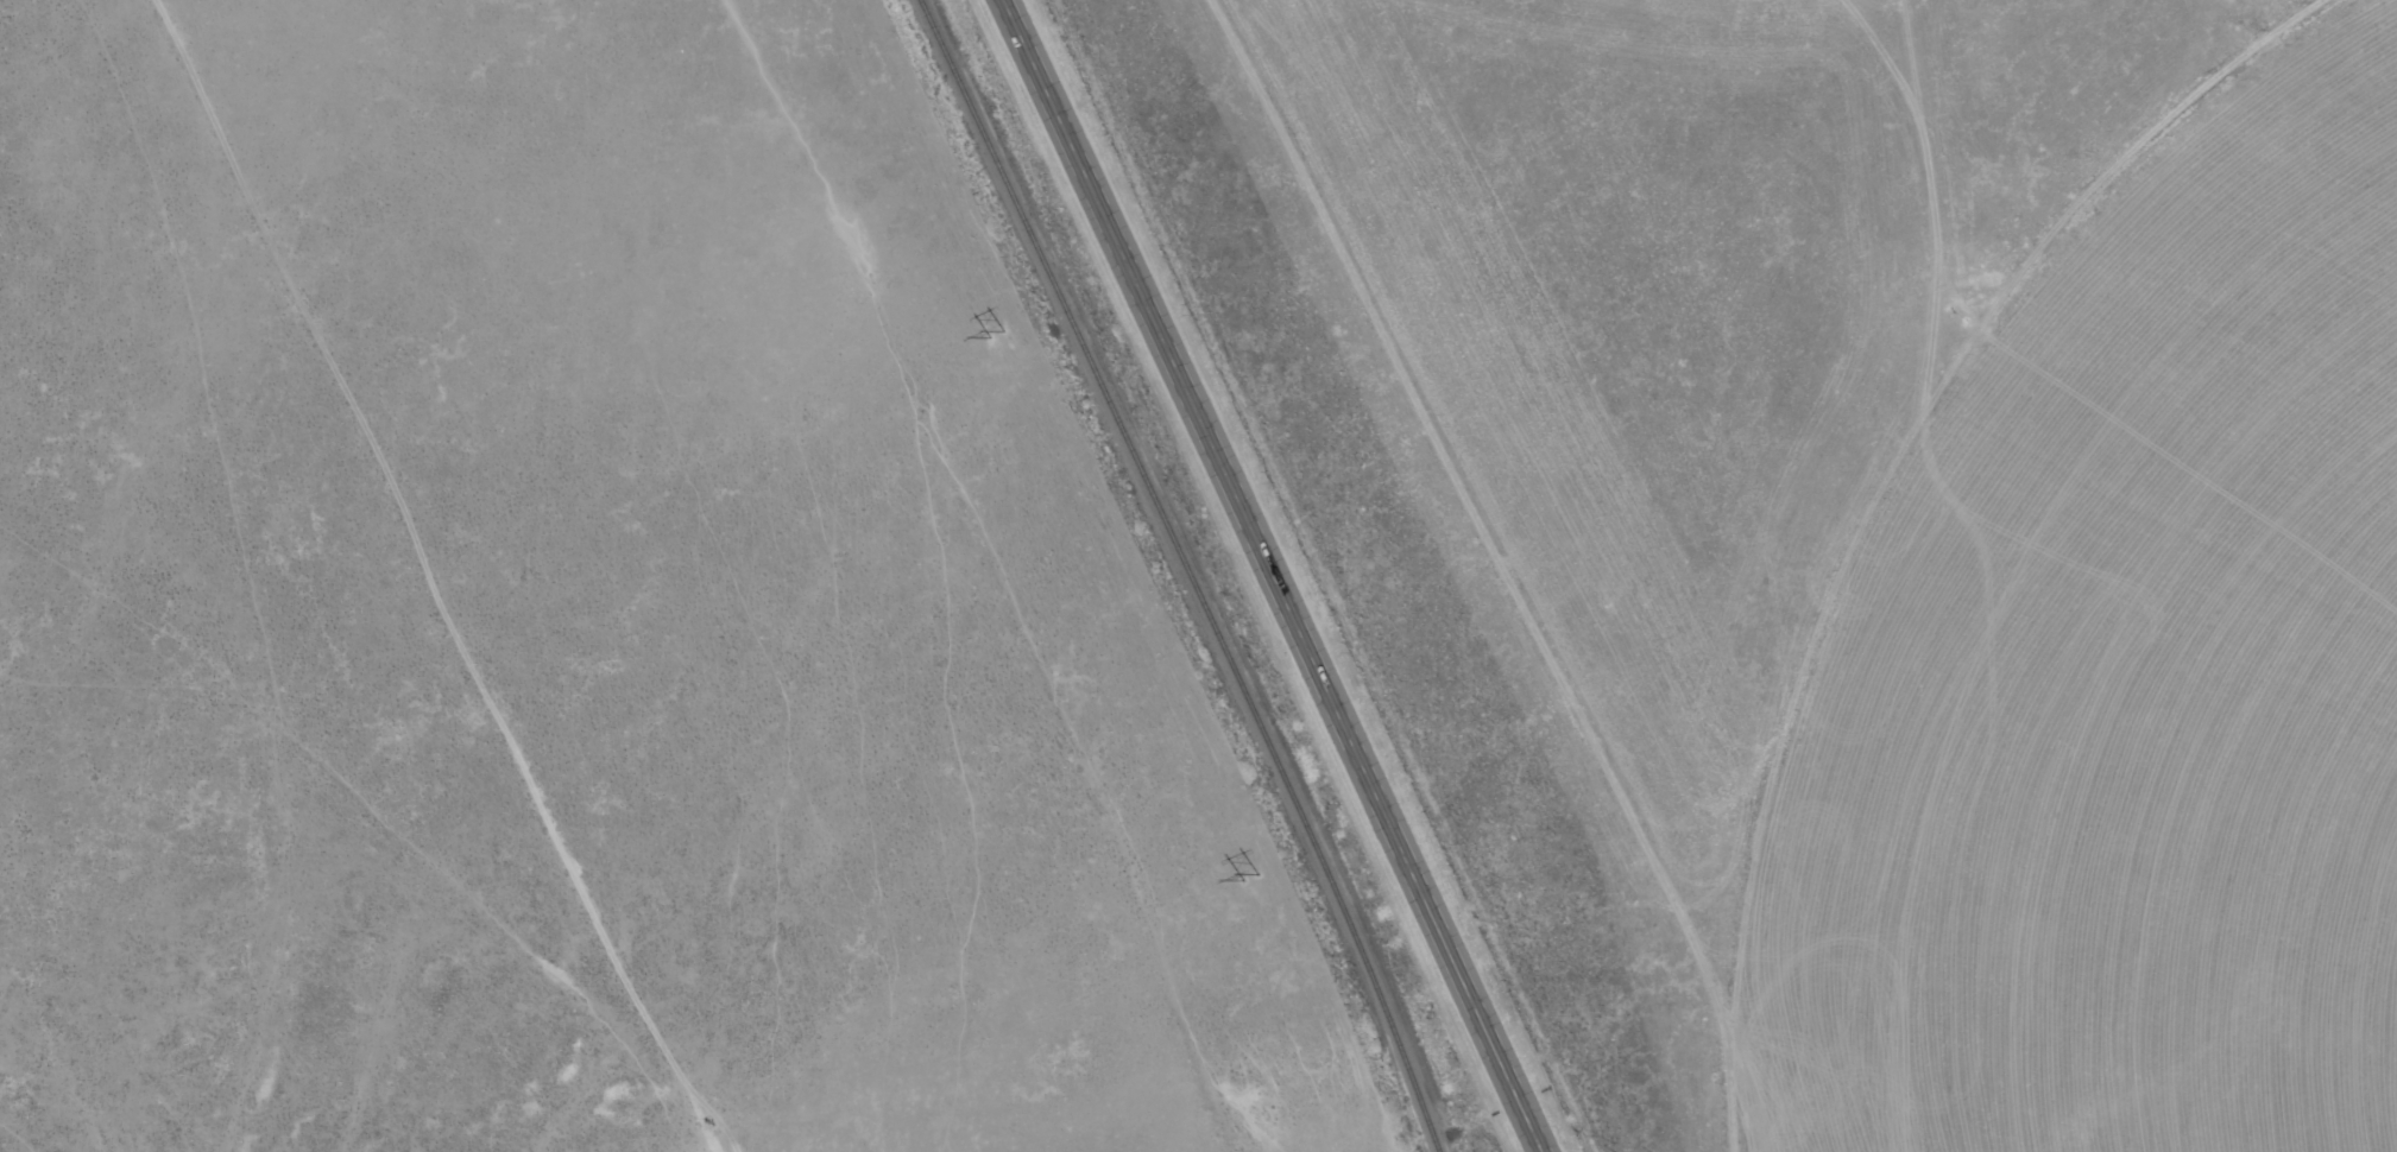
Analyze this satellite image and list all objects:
power tower: (991, 335)
railway: (1185, 571)
road: (1275, 575)
road: (440, 583)
power tower: (1248, 878)

